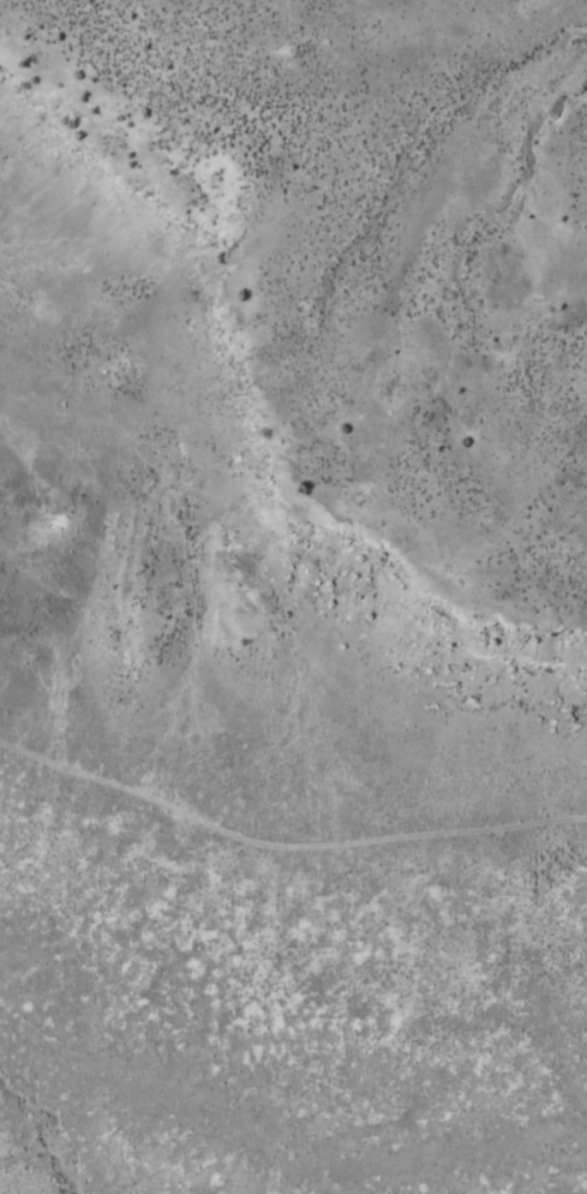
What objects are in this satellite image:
road: (118, 784)
road: (408, 837)

